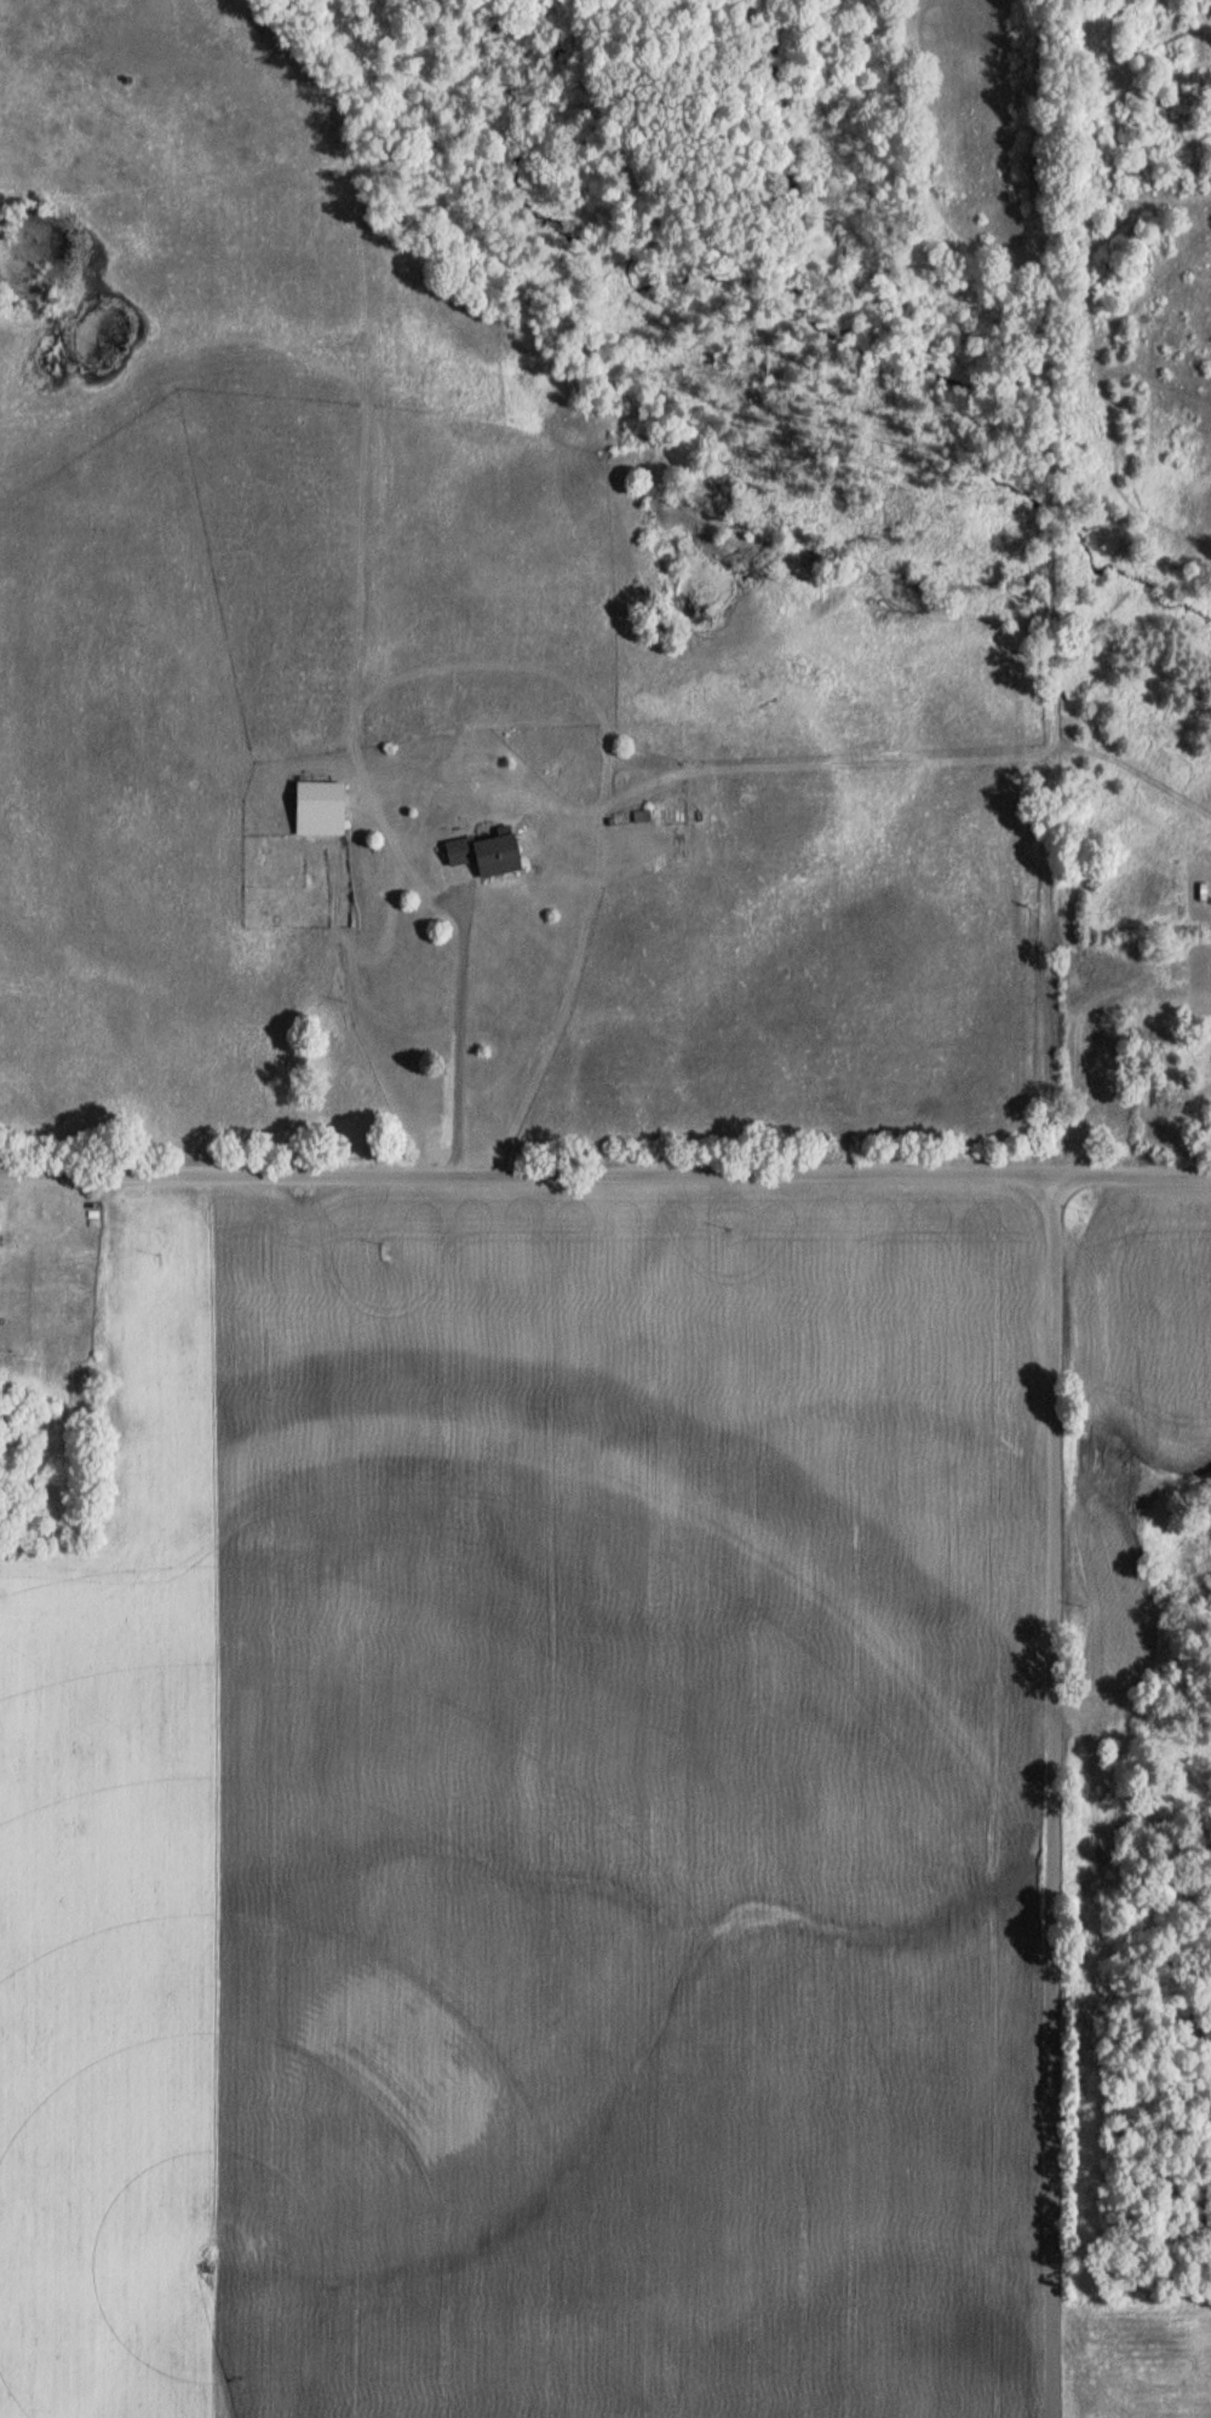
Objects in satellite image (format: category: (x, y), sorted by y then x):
building: (318, 809)
building: (486, 854)
road: (453, 1022)
road: (605, 1172)
road: (1043, 1796)

